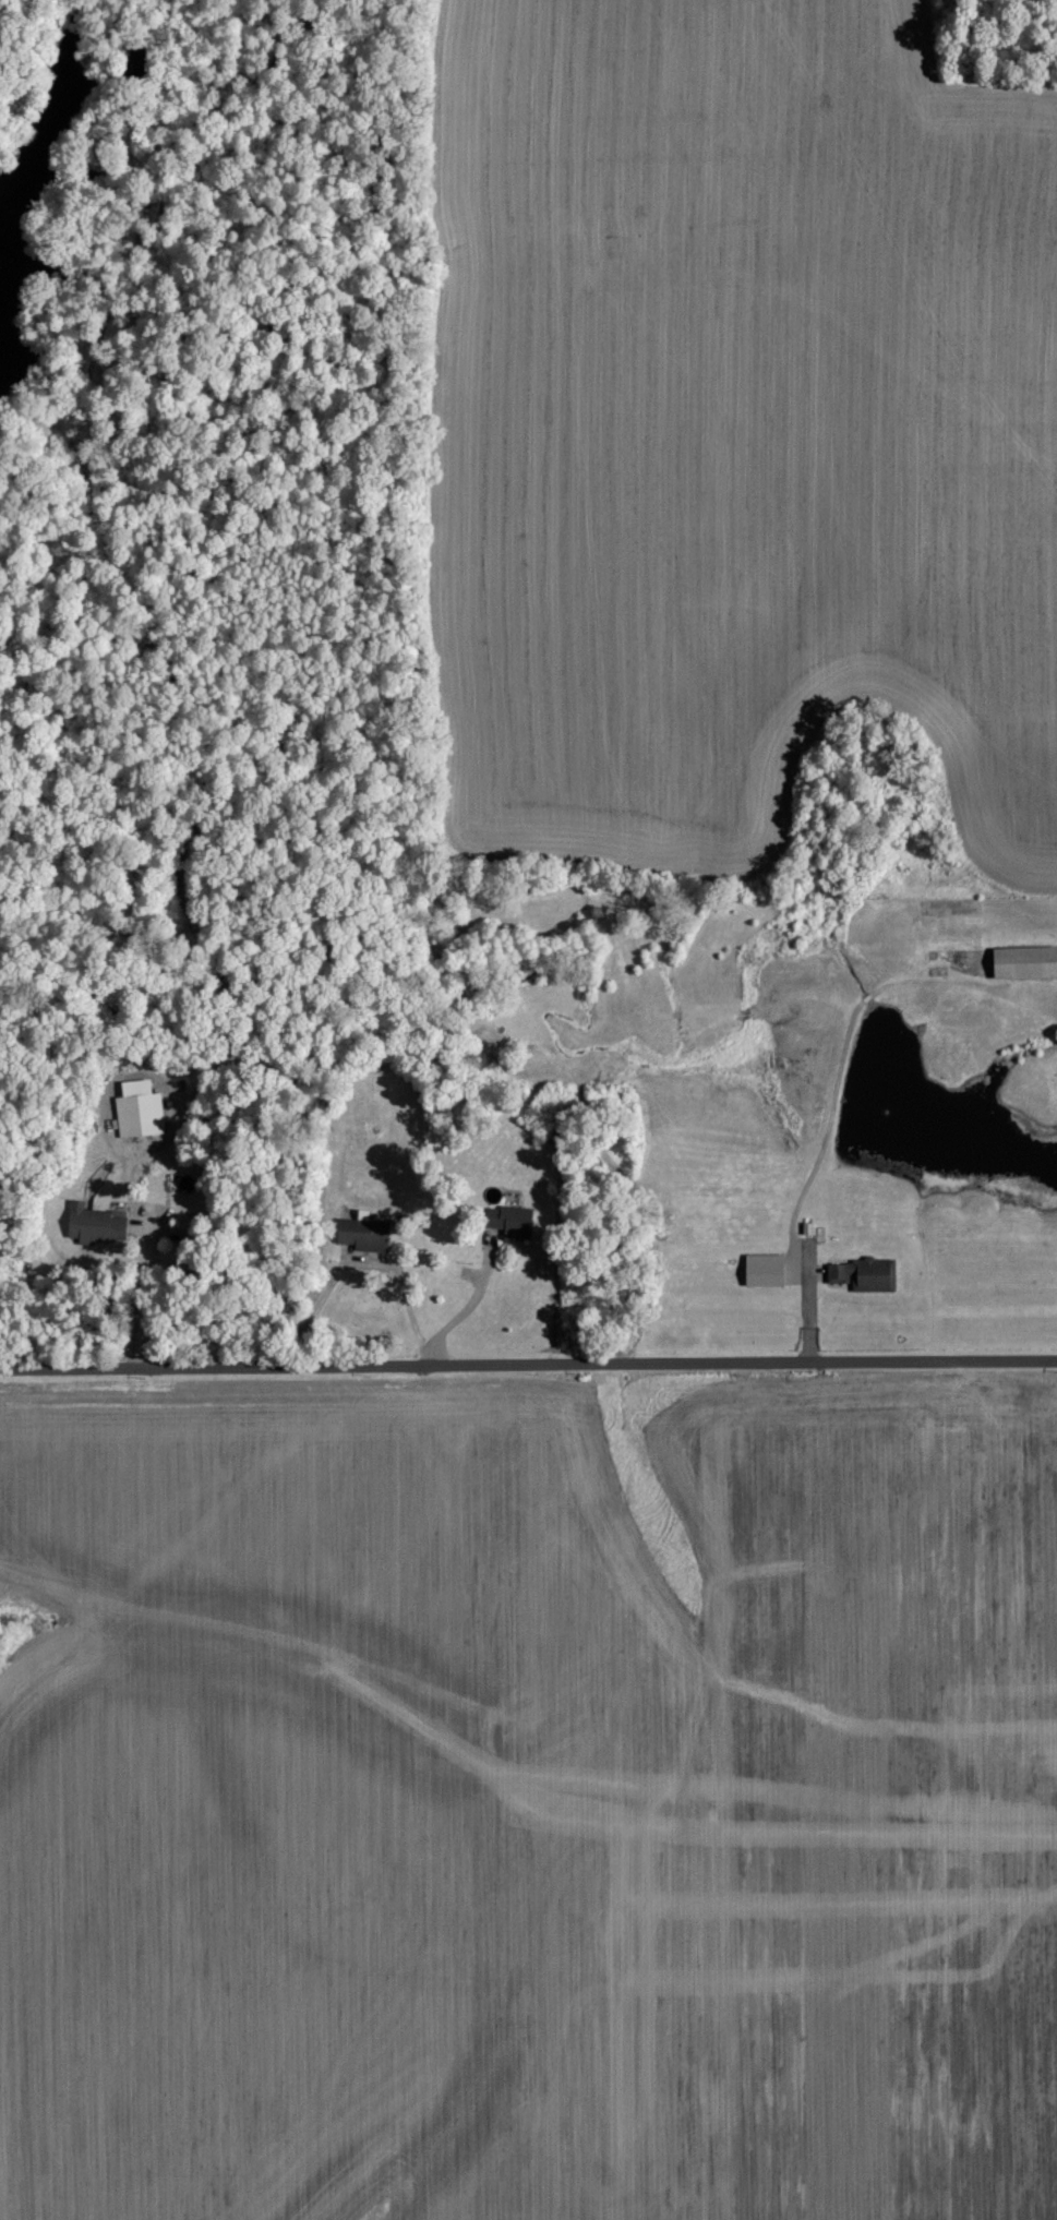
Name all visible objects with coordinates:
building: (139, 1108)
building: (511, 1221)
building: (95, 1224)
building: (363, 1234)
road: (144, 1268)
building: (764, 1269)
building: (858, 1273)
road: (396, 1280)
road: (797, 1287)
road: (459, 1309)
road: (528, 1364)

